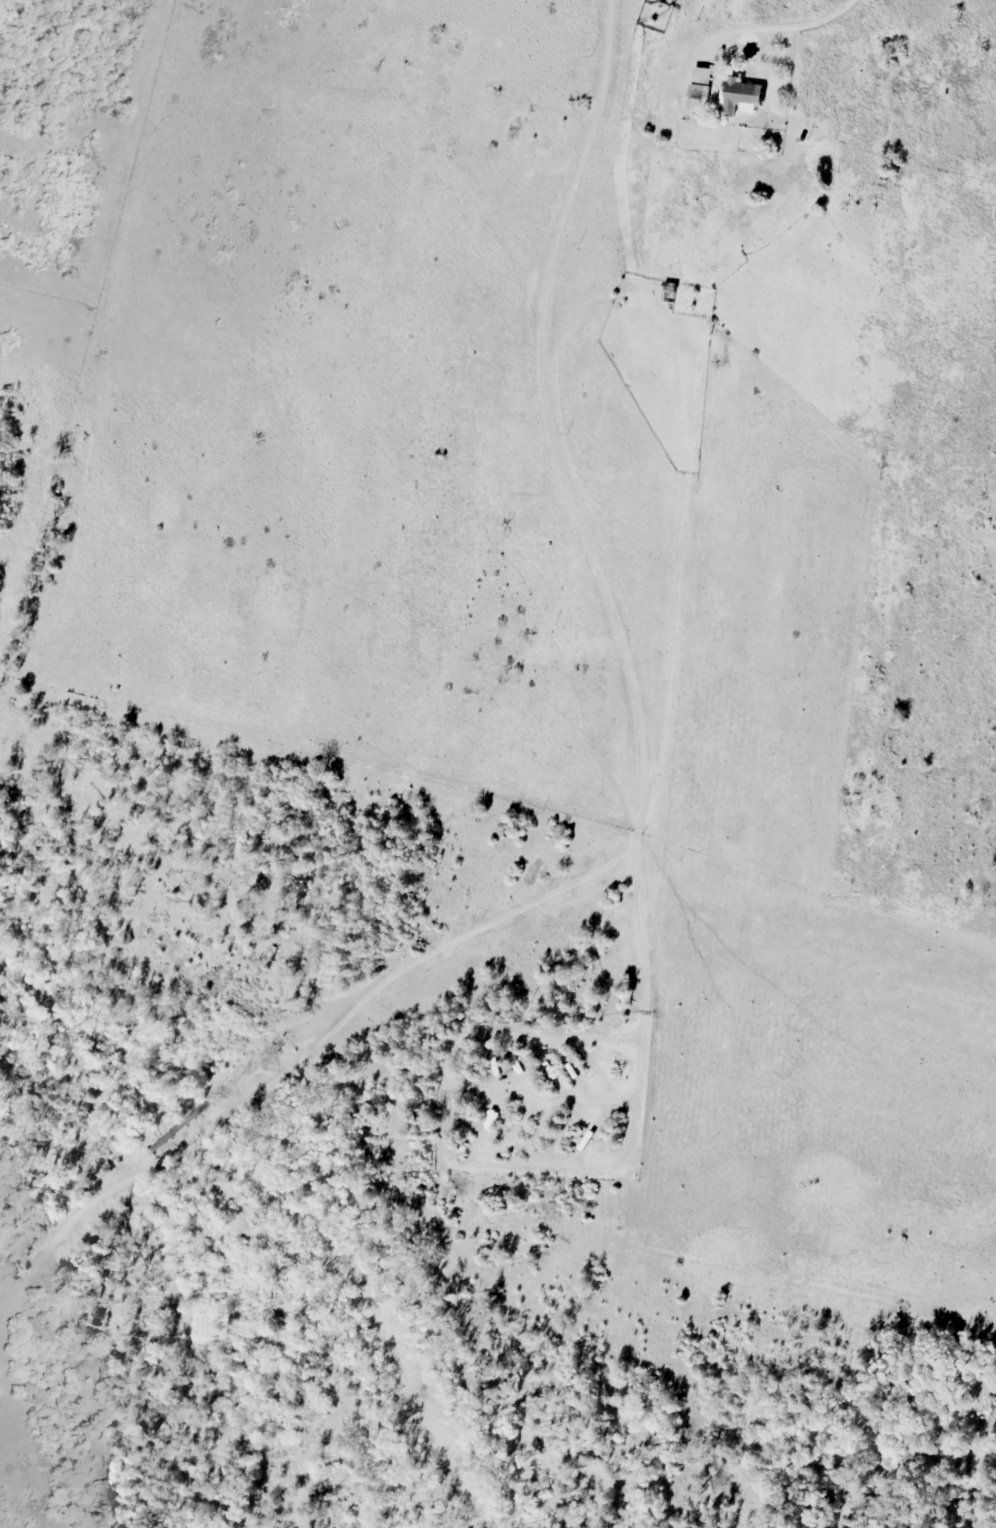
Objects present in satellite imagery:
building: (690, 76)
building: (703, 84)
building: (743, 97)
building: (751, 243)
building: (671, 292)
park: (877, 668)
road: (677, 789)

